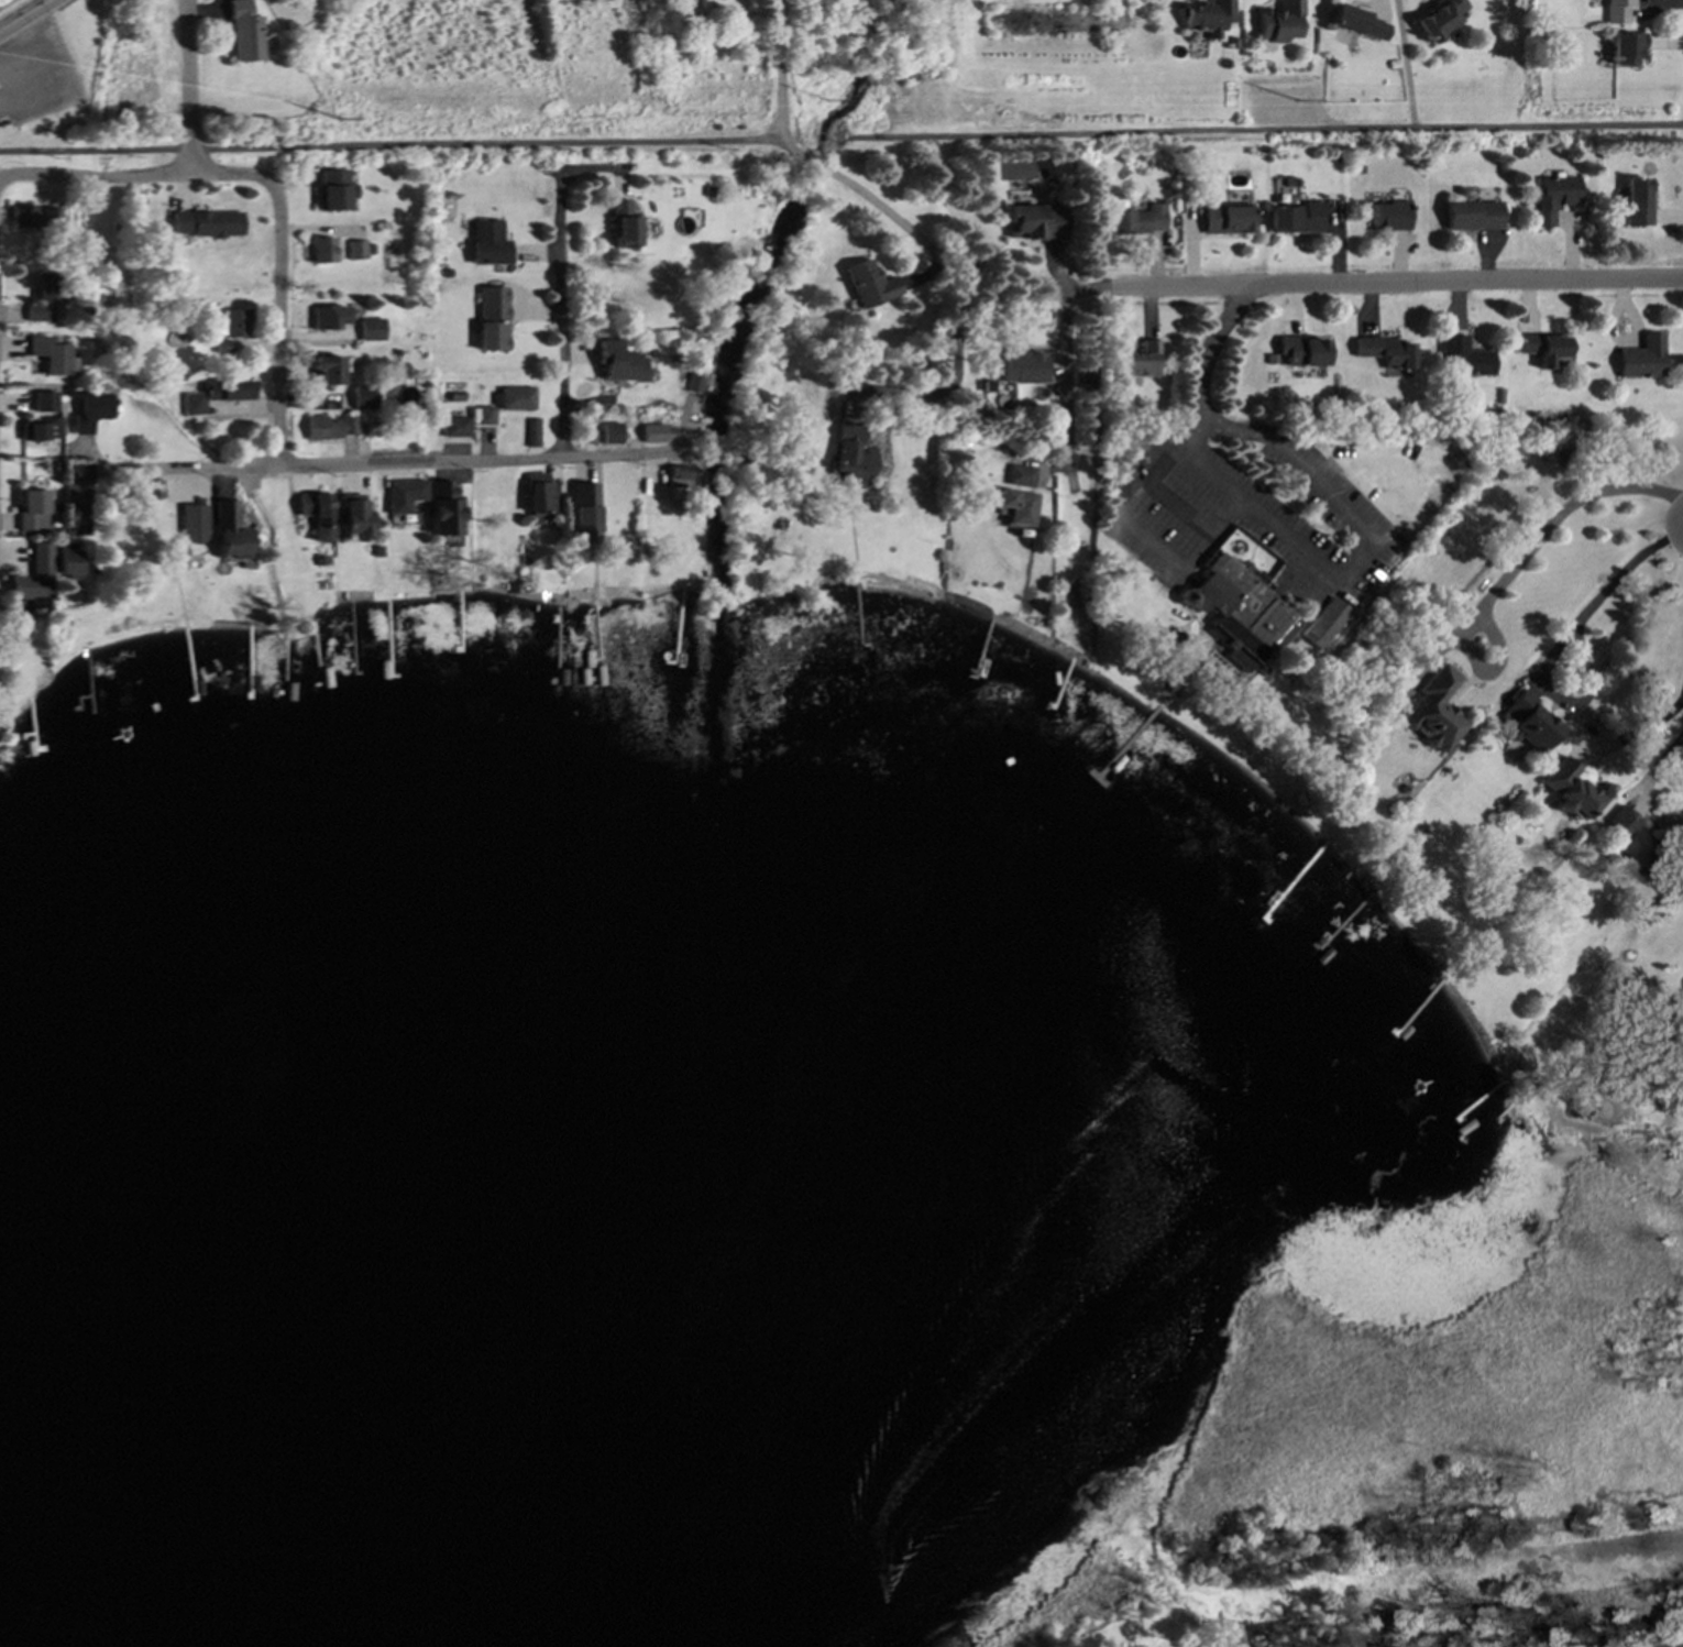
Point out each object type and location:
road: (4, 2)
building: (687, 4)
building: (1617, 11)
road: (26, 17)
building: (1207, 18)
building: (1438, 18)
building: (1278, 21)
building: (1357, 23)
building: (244, 33)
building: (1625, 48)
road: (1404, 63)
road: (187, 87)
power tower: (1311, 98)
power tower: (813, 107)
power tower: (350, 114)
road: (1233, 130)
road: (393, 147)
road: (594, 171)
road: (273, 188)
building: (333, 191)
road: (867, 198)
building: (1553, 198)
building: (1637, 202)
building: (1388, 216)
building: (1472, 216)
building: (22, 217)
building: (1225, 217)
building: (51, 218)
building: (1294, 219)
building: (1137, 220)
building: (1033, 222)
building: (206, 224)
building: (623, 224)
building: (487, 243)
building: (321, 251)
building: (355, 251)
road: (1372, 284)
building: (869, 285)
building: (44, 297)
road: (561, 315)
building: (328, 318)
building: (492, 319)
building: (237, 323)
building: (371, 330)
building: (222, 347)
building: (1543, 348)
building: (1300, 351)
building: (1384, 352)
building: (51, 355)
building: (1465, 358)
building: (1643, 358)
building: (1140, 362)
building: (618, 363)
building: (1020, 367)
building: (327, 371)
road: (1063, 378)
road: (882, 388)
building: (235, 391)
building: (363, 397)
building: (515, 398)
building: (44, 402)
building: (195, 404)
building: (90, 411)
building: (485, 416)
building: (454, 427)
building: (329, 428)
building: (41, 430)
building: (531, 432)
building: (614, 433)
building: (656, 433)
road: (616, 455)
building: (848, 455)
road: (327, 464)
building: (1019, 476)
building: (684, 477)
building: (1122, 484)
building: (540, 493)
building: (74, 494)
building: (404, 495)
building: (1016, 506)
building: (446, 508)
building: (32, 509)
building: (586, 514)
road: (1231, 514)
building: (317, 515)
building: (353, 516)
road: (1554, 521)
building: (191, 524)
building: (229, 532)
building: (66, 558)
road: (1619, 577)
building: (34, 579)
building: (1237, 613)
building: (1324, 624)
building: (1434, 711)
road: (1670, 712)
building: (1530, 722)
road: (1665, 755)
building: (1570, 789)
building: (1638, 842)
road: (1650, 901)

